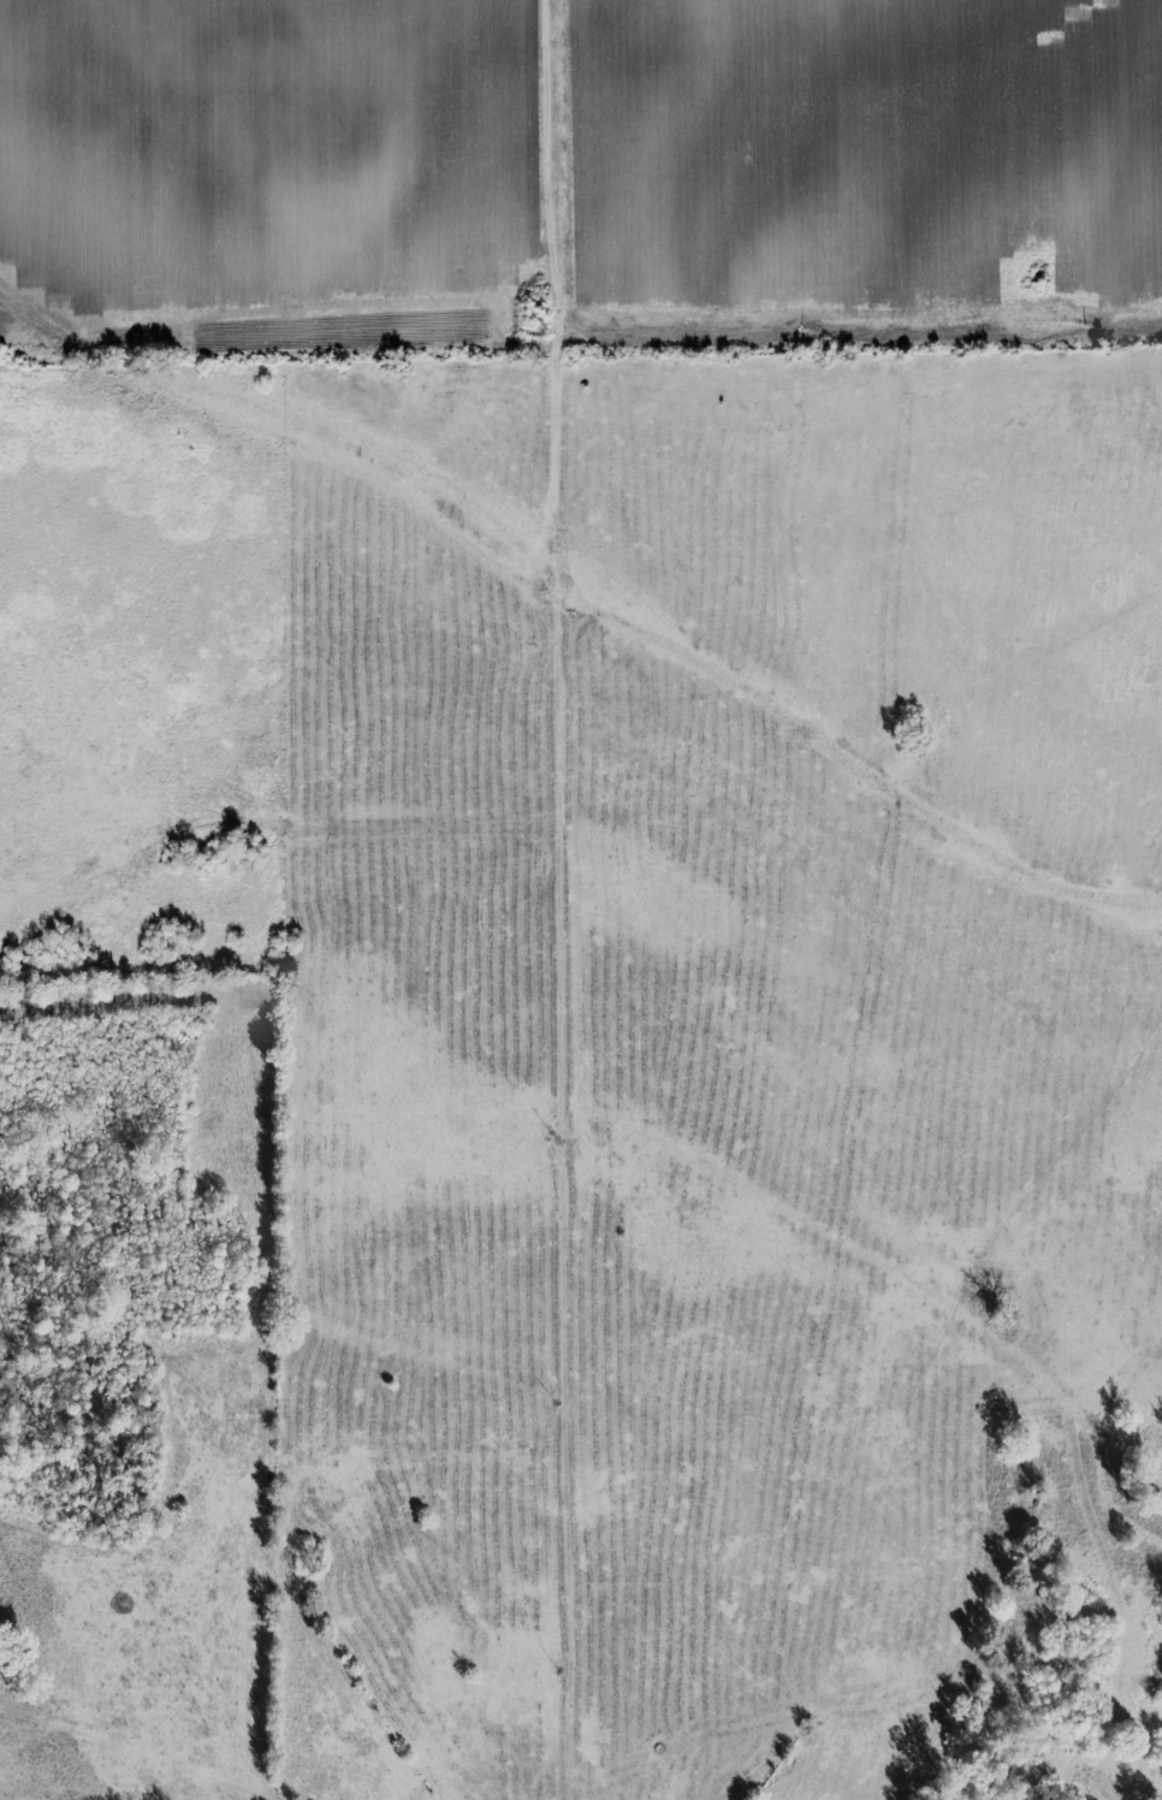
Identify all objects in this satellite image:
road: (580, 342)
road: (569, 900)

